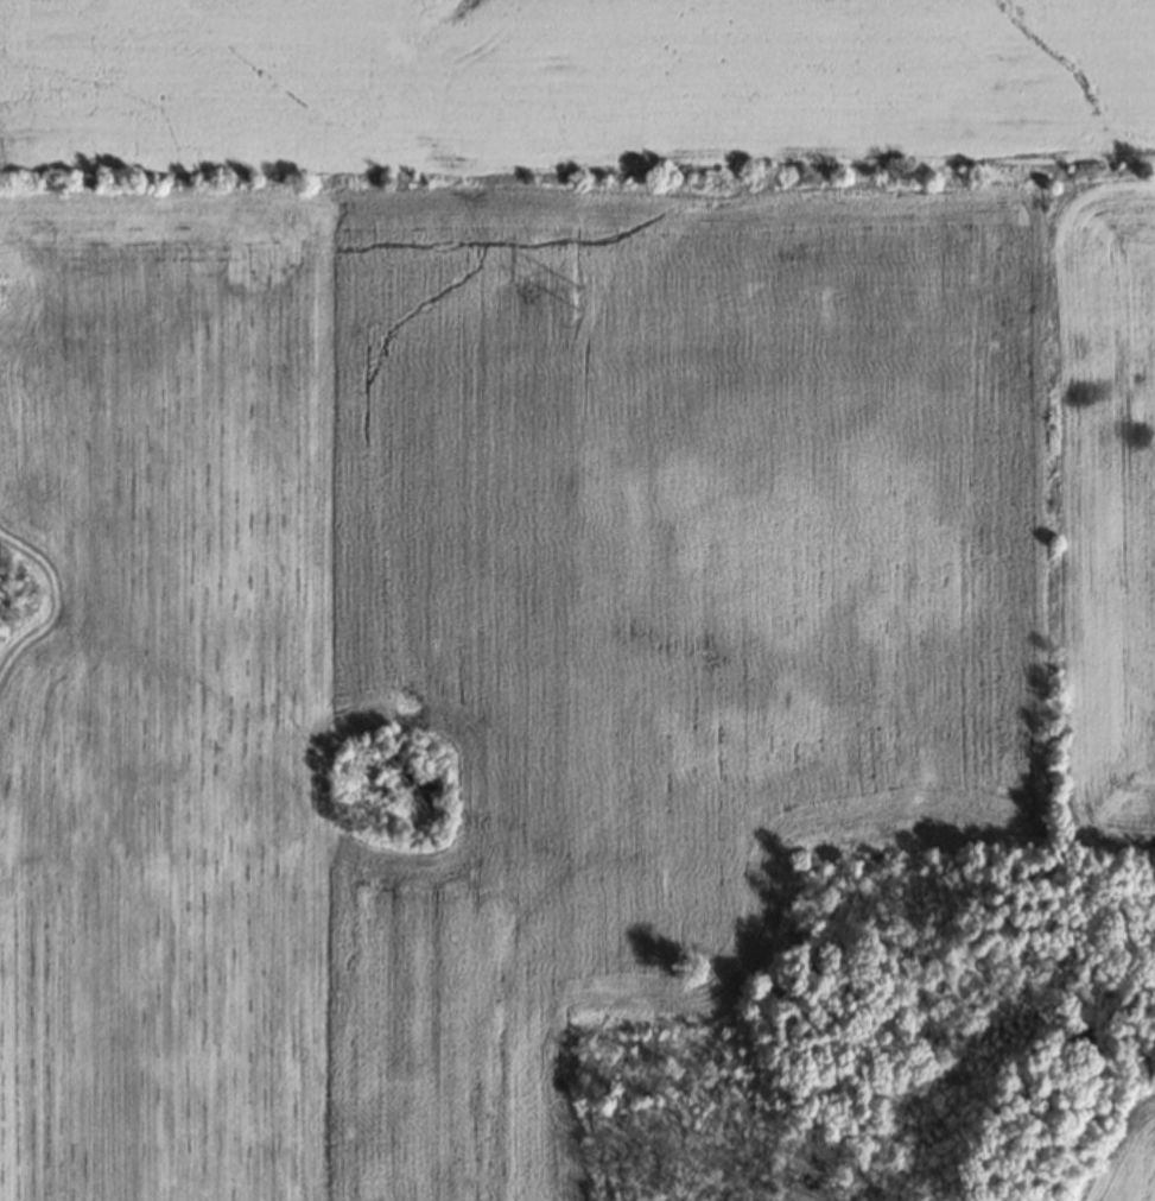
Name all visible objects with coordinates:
power tower: (578, 295)

